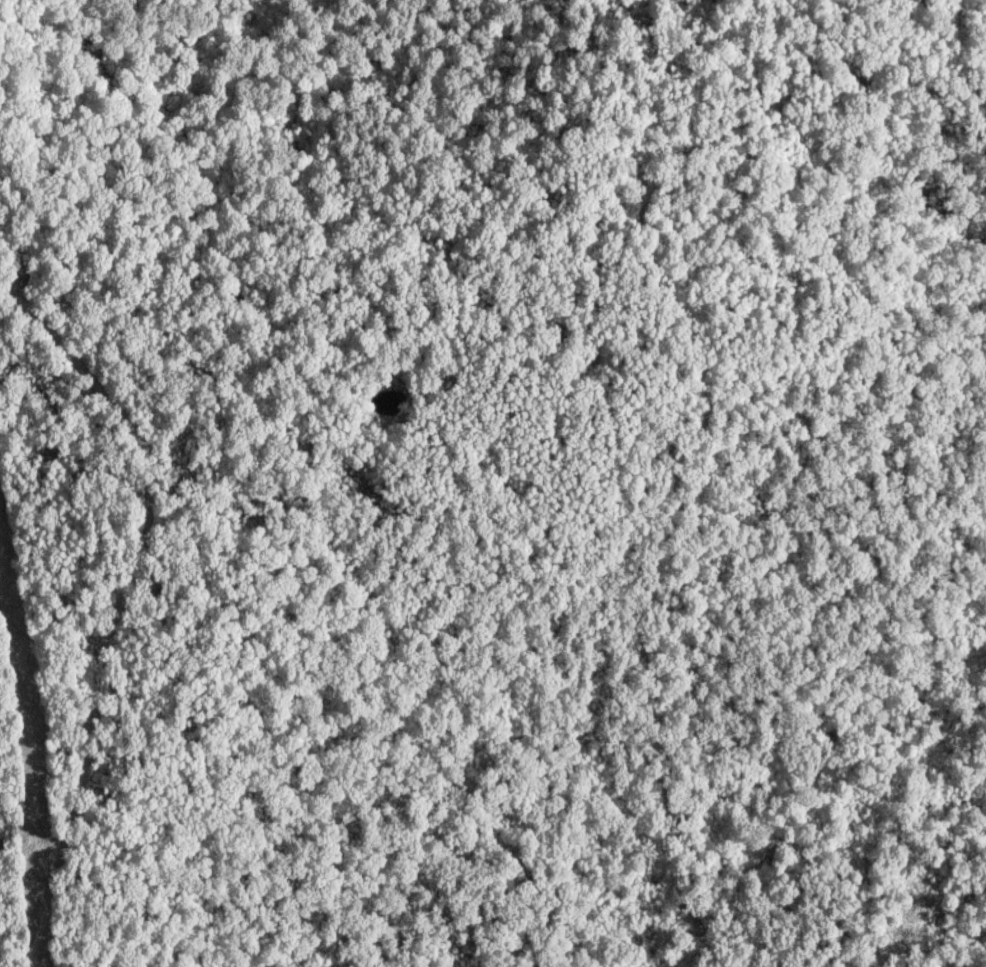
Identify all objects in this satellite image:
road: (145, 464)
road: (435, 595)

